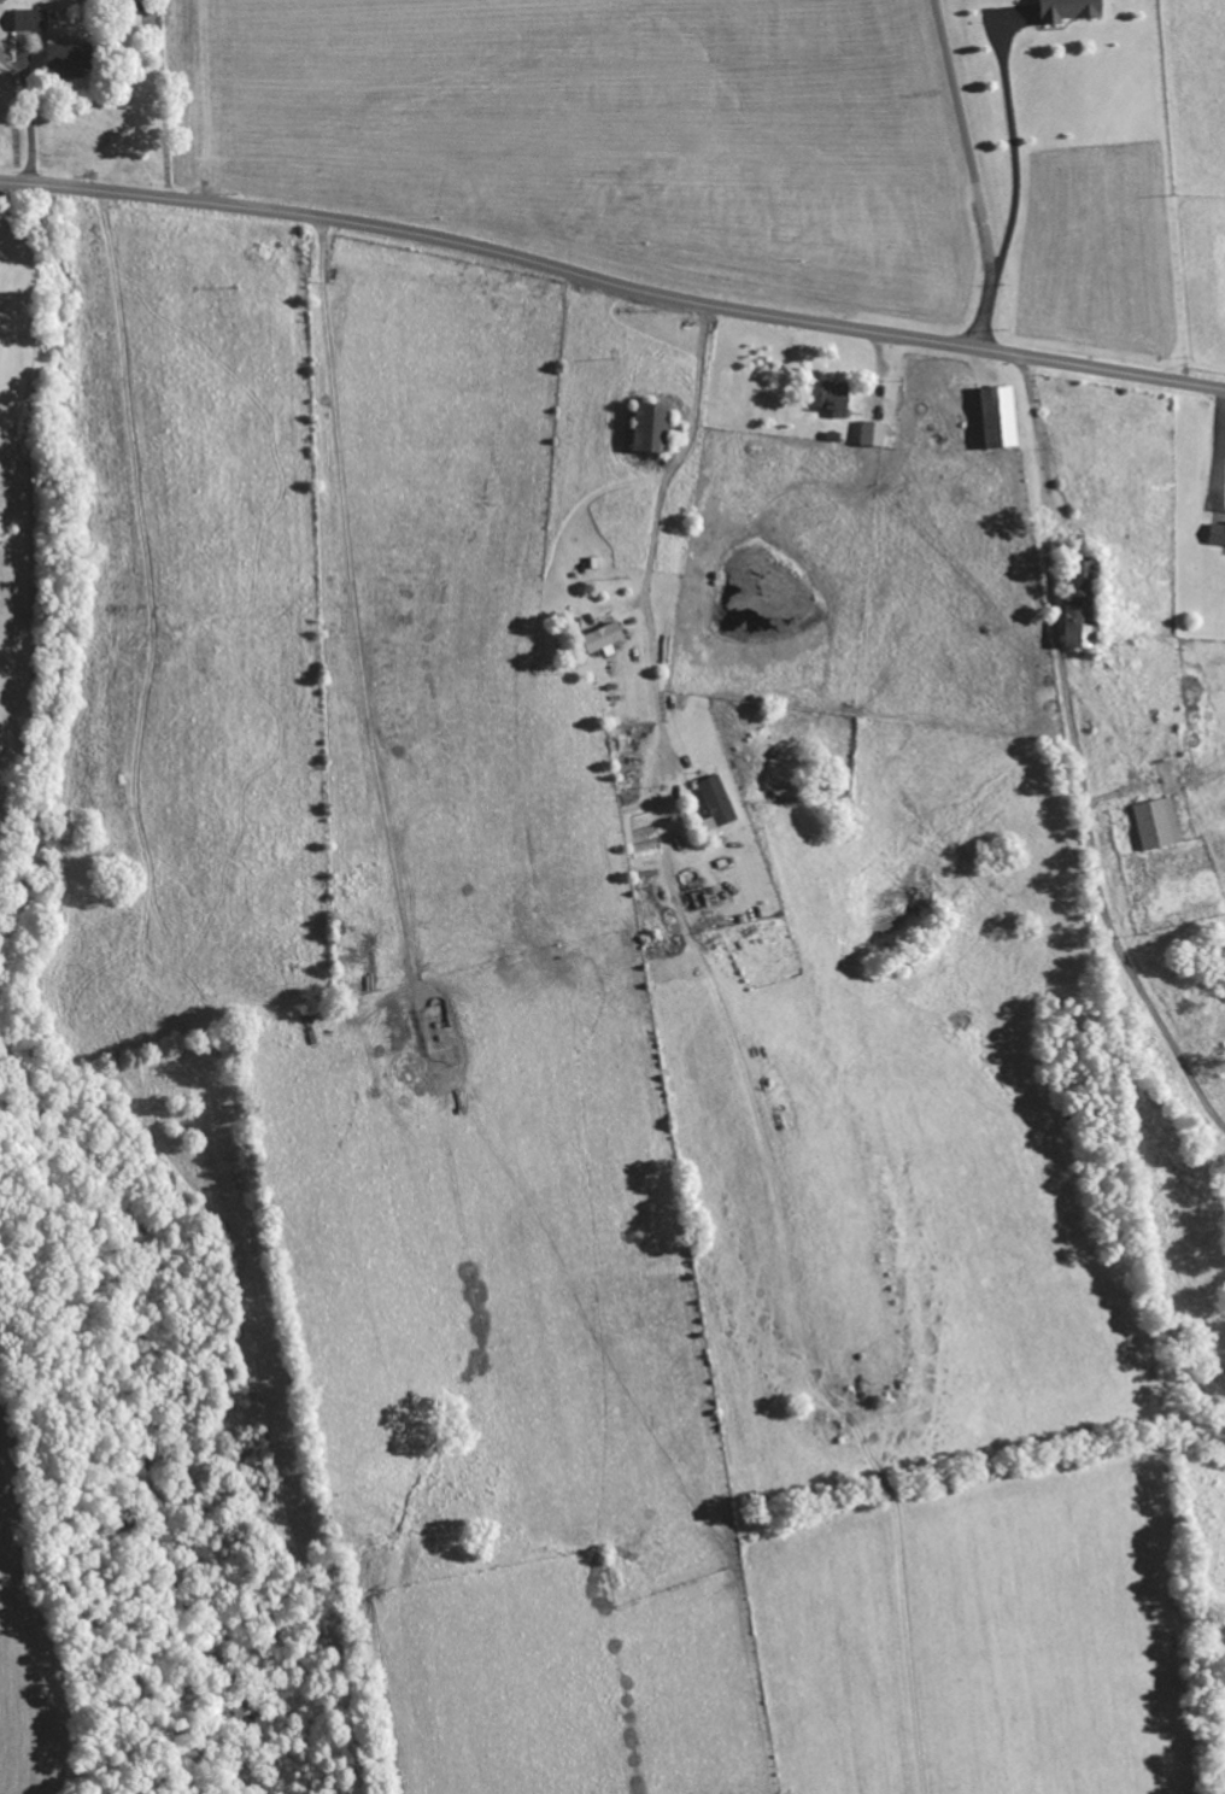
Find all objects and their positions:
building: (4, 0)
building: (1071, 10)
building: (31, 19)
building: (69, 55)
road: (29, 121)
road: (1015, 164)
road: (974, 171)
road: (611, 280)
building: (838, 399)
building: (1001, 418)
building: (653, 427)
building: (874, 434)
road: (651, 518)
building: (1218, 534)
building: (604, 638)
road: (1077, 756)
building: (717, 804)
building: (1157, 825)

